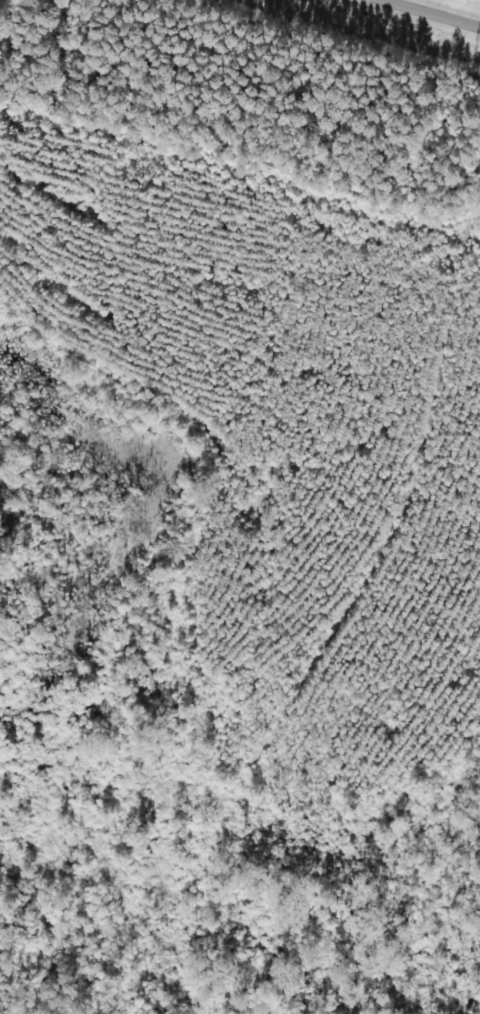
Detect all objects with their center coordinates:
road: (411, 18)

